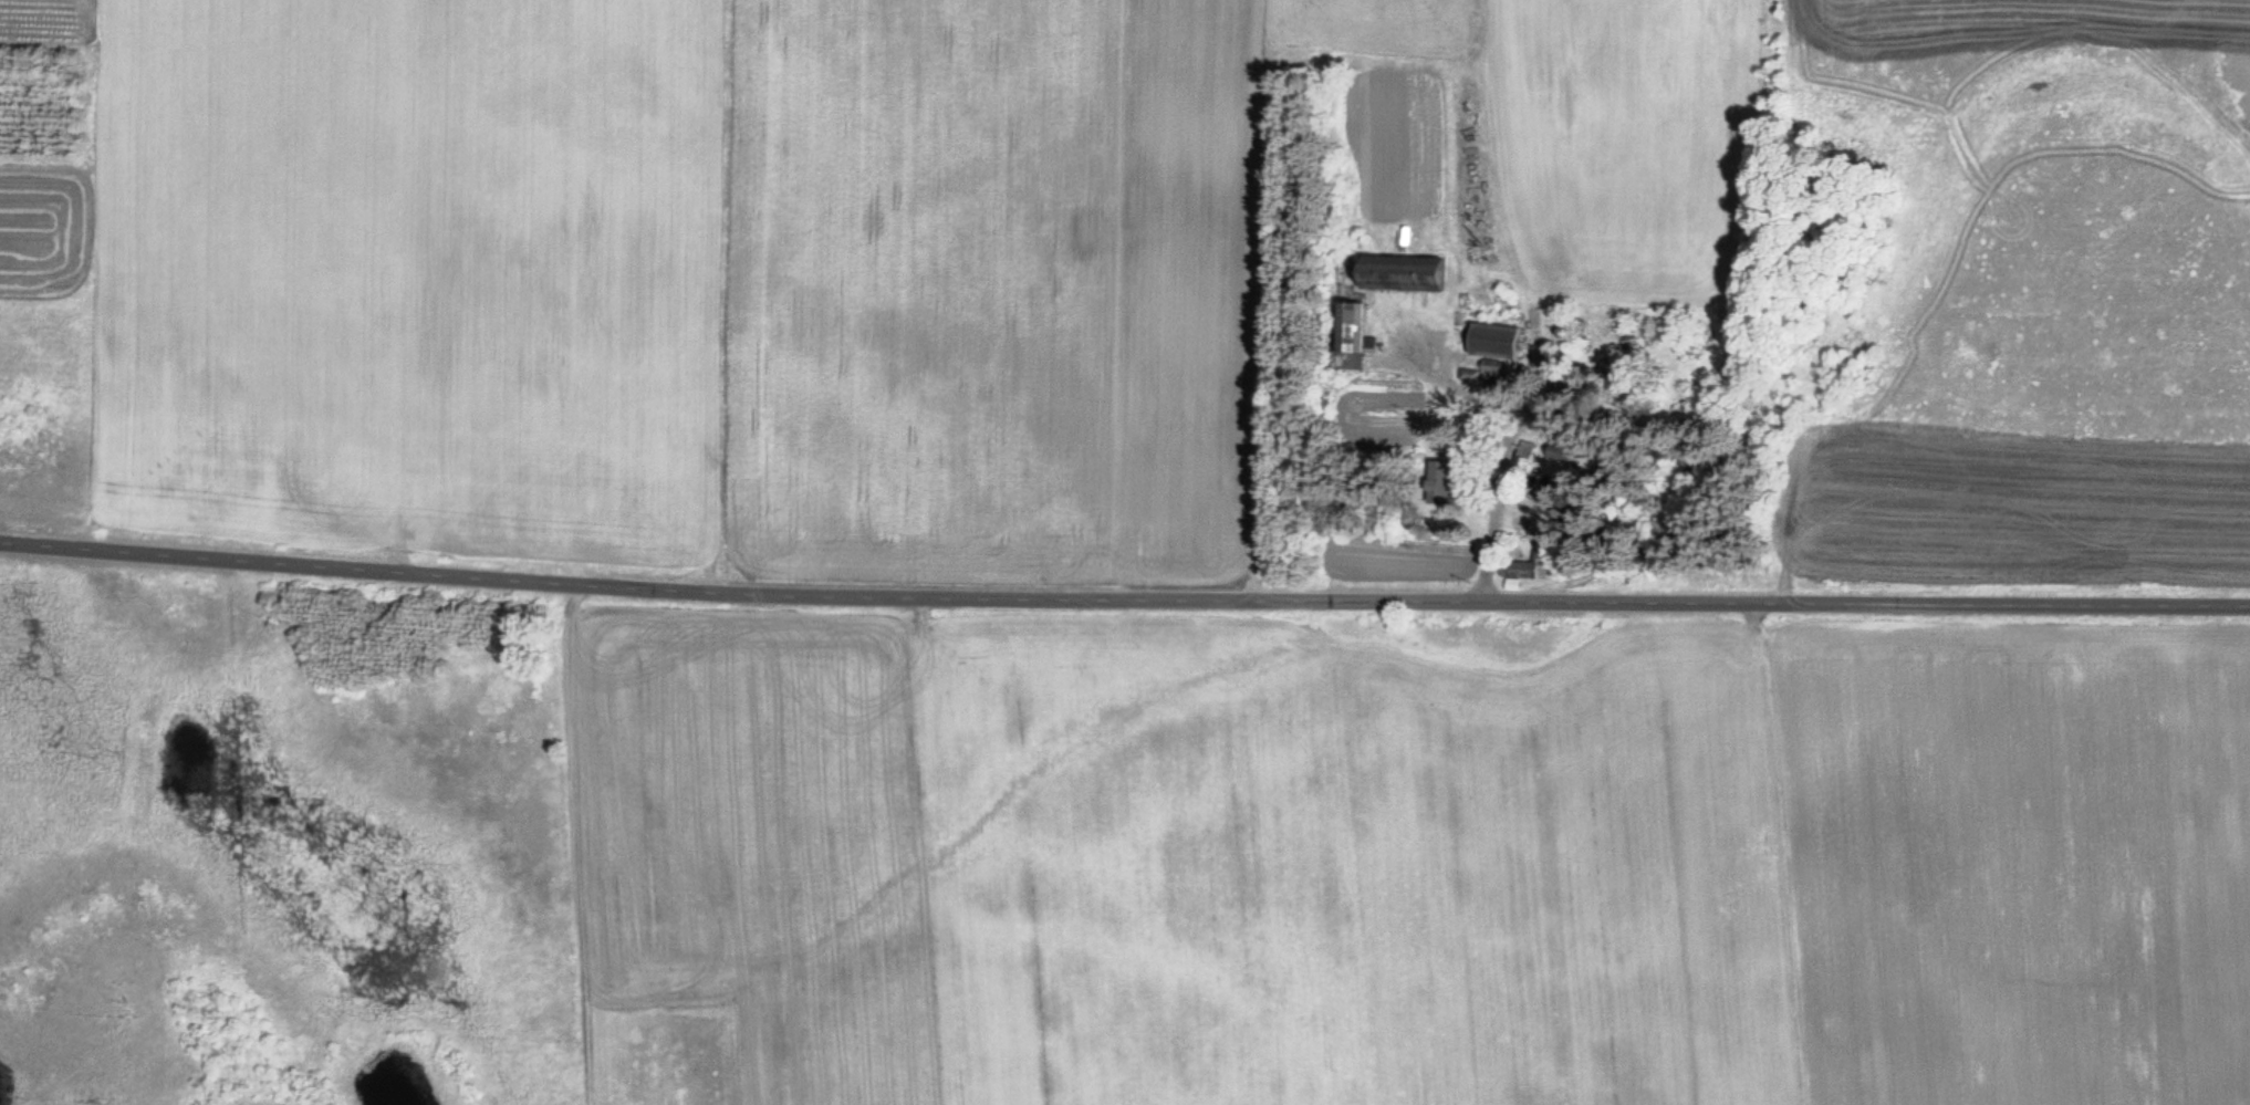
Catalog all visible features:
building: (1398, 273)
building: (1348, 336)
building: (1492, 341)
building: (1496, 371)
building: (1439, 482)
building: (1524, 567)
road: (1124, 593)

